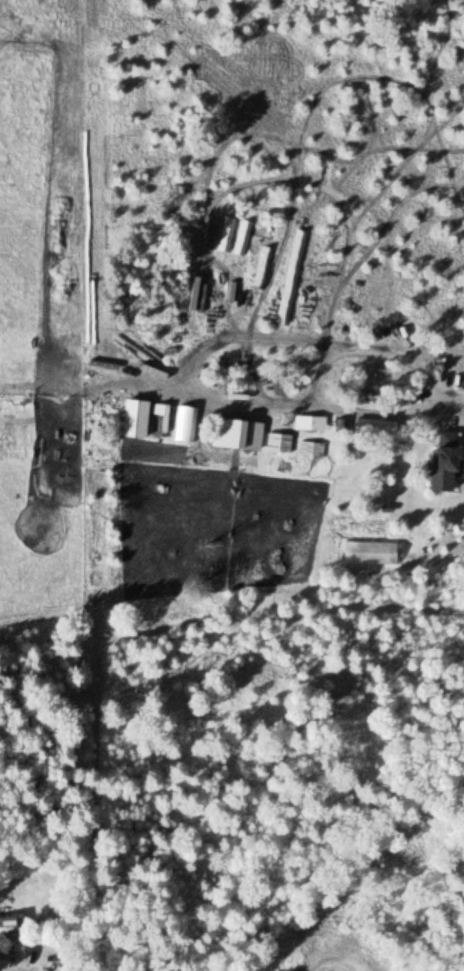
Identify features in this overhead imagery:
building: (318, 418)
building: (372, 426)
building: (237, 433)
building: (278, 442)
building: (311, 448)
building: (444, 451)
building: (9, 926)

